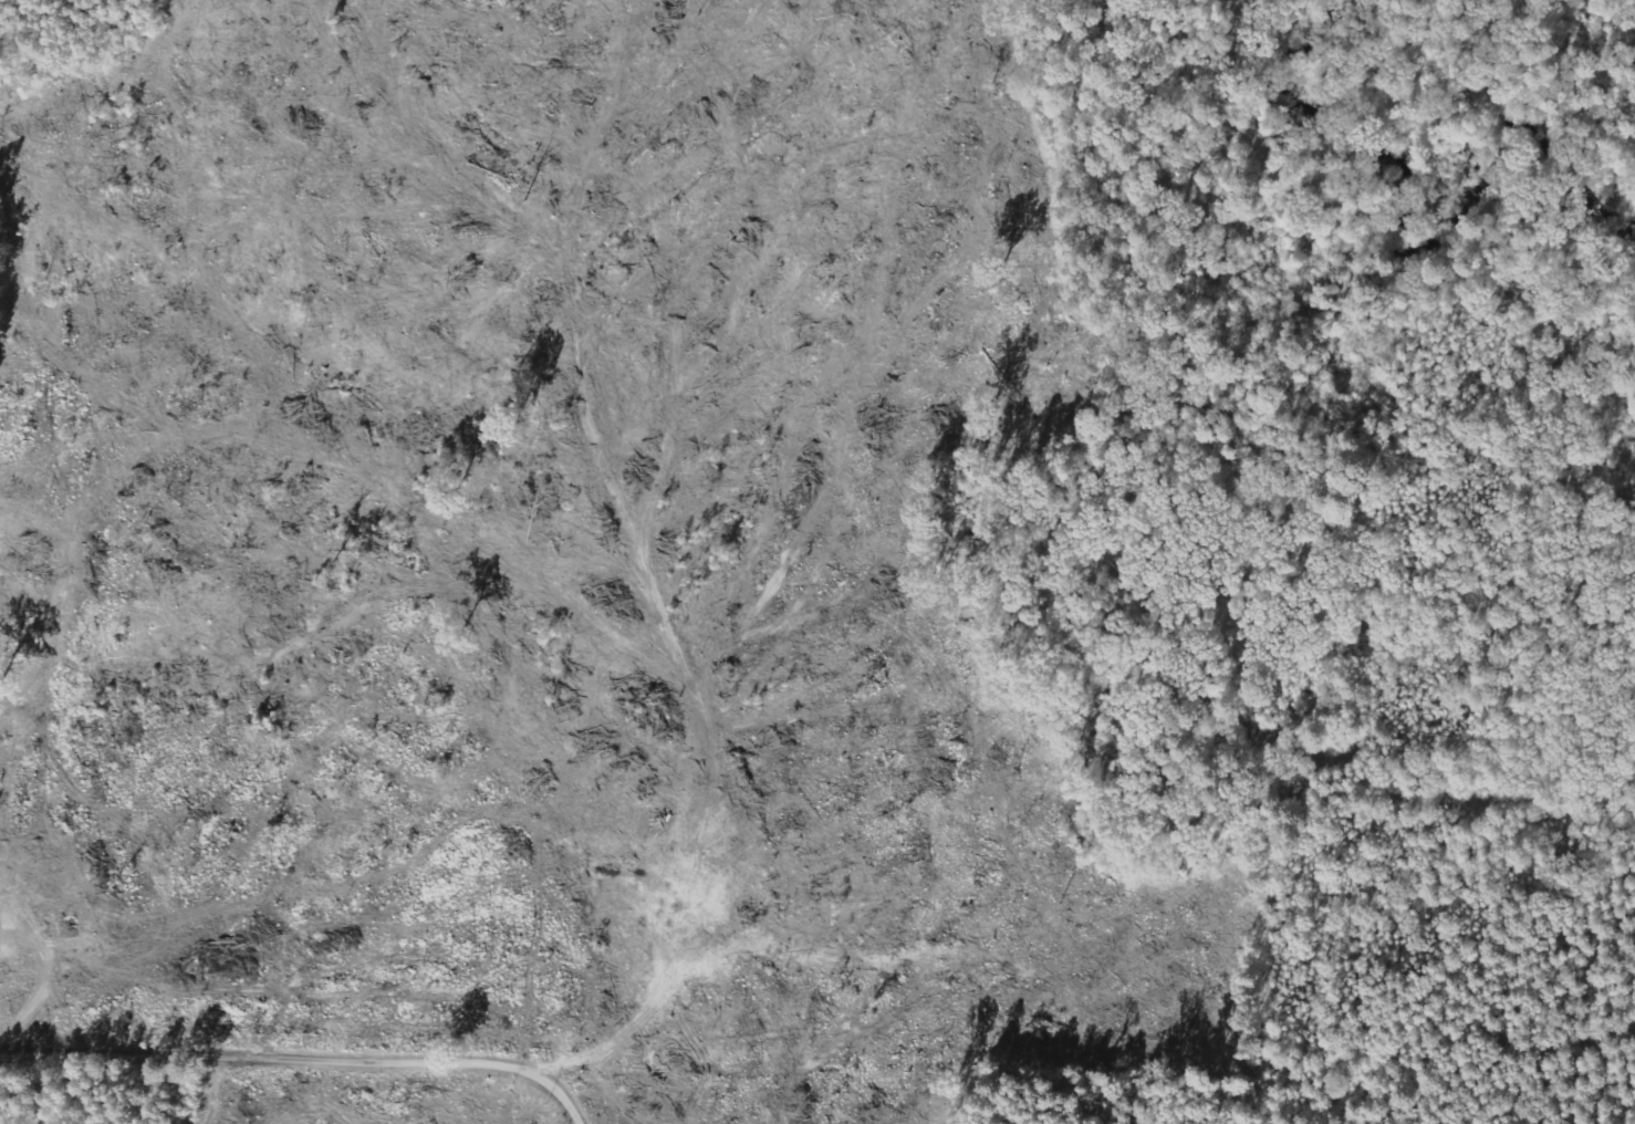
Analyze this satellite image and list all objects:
road: (1556, 74)
road: (1530, 487)
road: (294, 1062)

